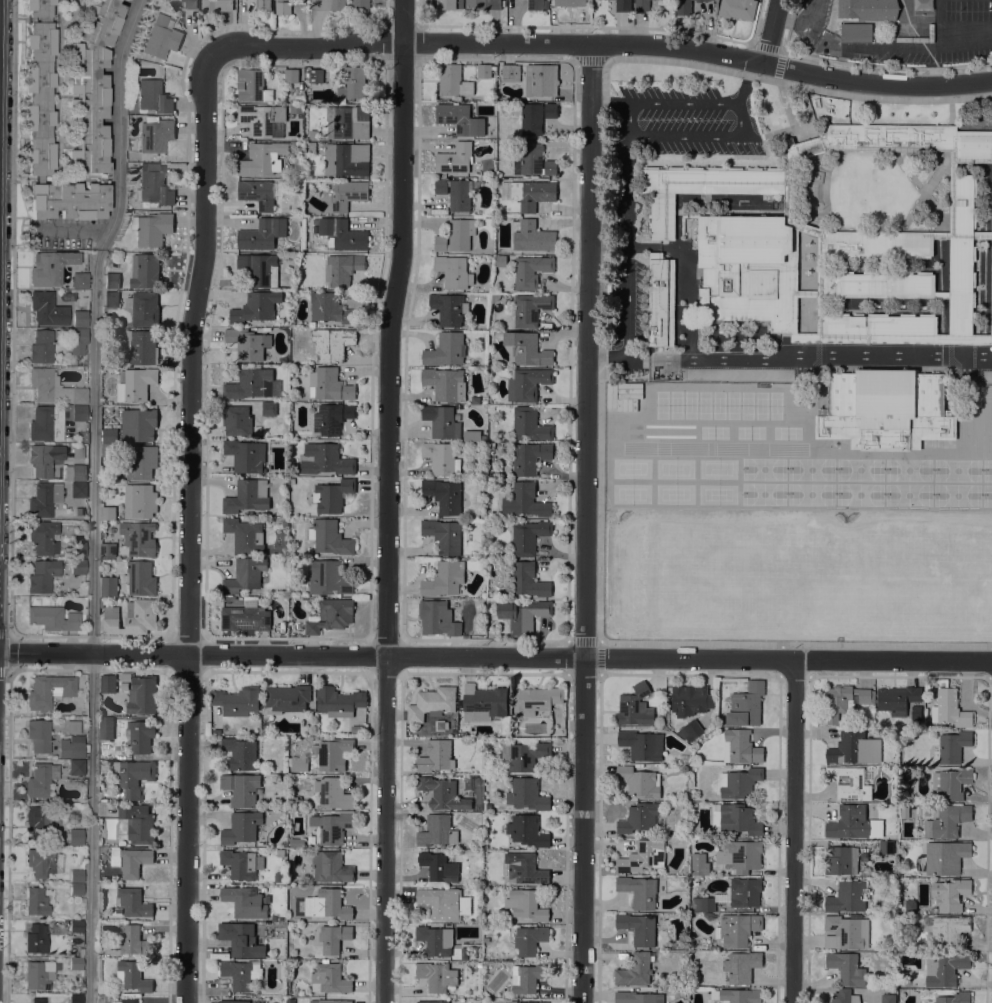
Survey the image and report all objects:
building: (700, 0)
building: (706, 0)
building: (707, 0)
building: (570, 3)
building: (187, 4)
building: (328, 4)
building: (360, 4)
building: (446, 4)
building: (483, 4)
building: (535, 4)
building: (217, 5)
building: (264, 5)
building: (623, 5)
building: (642, 5)
building: (283, 7)
building: (683, 7)
building: (738, 8)
building: (869, 9)
road: (937, 23)
road: (801, 24)
parking lot: (962, 31)
road: (770, 32)
building: (856, 35)
building: (161, 38)
road: (400, 42)
road: (964, 42)
road: (866, 45)
road: (678, 46)
building: (864, 55)
building: (484, 70)
building: (510, 72)
building: (291, 75)
building: (315, 75)
building: (541, 80)
building: (454, 81)
road: (746, 82)
building: (354, 83)
building: (39, 85)
road: (876, 85)
building: (90, 86)
building: (253, 86)
building: (152, 96)
building: (299, 97)
building: (296, 108)
building: (535, 115)
road: (742, 115)
building: (262, 118)
building: (460, 119)
building: (348, 121)
building: (156, 135)
building: (314, 135)
building: (910, 138)
building: (310, 147)
building: (263, 158)
building: (455, 158)
building: (347, 159)
building: (534, 160)
building: (967, 161)
building: (154, 185)
building: (701, 189)
building: (257, 193)
building: (456, 193)
building: (533, 193)
building: (347, 194)
building: (69, 200)
building: (991, 214)
building: (152, 228)
building: (262, 233)
building: (342, 234)
building: (456, 235)
building: (942, 235)
building: (982, 235)
building: (533, 236)
road: (625, 242)
building: (878, 244)
building: (821, 246)
building: (962, 253)
building: (49, 267)
building: (259, 268)
building: (343, 268)
building: (746, 268)
building: (145, 270)
building: (453, 271)
building: (530, 271)
building: (79, 280)
building: (112, 280)
building: (880, 284)
building: (991, 285)
building: (942, 294)
building: (111, 299)
building: (661, 300)
building: (256, 307)
building: (144, 308)
building: (330, 308)
building: (449, 308)
building: (530, 308)
building: (47, 309)
building: (991, 315)
building: (80, 318)
building: (880, 328)
building: (991, 332)
building: (963, 338)
building: (78, 341)
building: (248, 343)
building: (332, 343)
building: (41, 347)
building: (142, 347)
building: (446, 349)
building: (526, 349)
road: (791, 357)
building: (662, 374)
building: (688, 374)
building: (738, 376)
building: (250, 383)
building: (445, 383)
building: (527, 383)
building: (137, 384)
building: (330, 384)
building: (53, 388)
building: (269, 408)
building: (885, 409)
building: (79, 413)
building: (332, 417)
building: (237, 420)
building: (442, 421)
building: (46, 423)
building: (138, 424)
building: (530, 424)
building: (110, 435)
building: (109, 450)
building: (77, 451)
building: (246, 455)
building: (530, 457)
building: (441, 458)
building: (44, 459)
building: (325, 459)
building: (141, 462)
building: (75, 472)
building: (333, 495)
building: (444, 495)
building: (247, 496)
building: (51, 497)
road: (95, 497)
building: (140, 501)
road: (391, 501)
building: (525, 501)
building: (108, 512)
building: (284, 522)
road: (588, 522)
road: (193, 529)
building: (444, 534)
building: (245, 535)
building: (43, 537)
building: (329, 537)
building: (529, 537)
building: (138, 538)
building: (78, 549)
building: (108, 550)
building: (78, 566)
building: (245, 575)
building: (42, 576)
building: (141, 578)
building: (329, 578)
building: (444, 579)
building: (528, 580)
building: (109, 586)
building: (101, 602)
building: (331, 615)
building: (523, 615)
building: (132, 617)
building: (246, 617)
building: (53, 618)
building: (437, 618)
road: (495, 659)
building: (125, 677)
building: (108, 683)
building: (49, 690)
building: (142, 694)
building: (286, 698)
building: (897, 698)
building: (536, 699)
building: (237, 700)
building: (690, 700)
building: (844, 700)
building: (339, 701)
building: (483, 702)
building: (432, 703)
building: (746, 704)
building: (635, 706)
building: (950, 709)
building: (916, 712)
building: (106, 728)
building: (358, 728)
building: (690, 730)
building: (264, 731)
building: (38, 735)
building: (140, 735)
building: (642, 744)
building: (76, 746)
building: (741, 747)
building: (951, 747)
building: (854, 748)
building: (240, 753)
building: (326, 755)
building: (524, 755)
building: (436, 756)
building: (76, 767)
building: (134, 776)
building: (40, 780)
building: (640, 781)
building: (739, 782)
building: (849, 783)
building: (950, 783)
building: (241, 788)
building: (334, 793)
building: (443, 793)
building: (527, 794)
building: (296, 801)
building: (488, 806)
building: (905, 810)
building: (715, 814)
building: (639, 817)
building: (737, 818)
building: (42, 819)
building: (947, 821)
building: (138, 822)
building: (849, 822)
building: (241, 827)
building: (332, 827)
building: (437, 830)
building: (527, 830)
road: (796, 831)
building: (74, 836)
building: (311, 839)
building: (296, 842)
building: (886, 846)
building: (281, 853)
building: (741, 855)
building: (643, 856)
building: (945, 857)
building: (130, 860)
building: (841, 860)
building: (259, 861)
building: (40, 862)
building: (239, 864)
building: (700, 864)
building: (439, 866)
building: (331, 867)
building: (525, 868)
building: (76, 876)
building: (278, 876)
building: (76, 889)
building: (639, 890)
building: (950, 893)
building: (732, 895)
building: (848, 897)
building: (36, 901)
building: (245, 901)
building: (133, 902)
building: (445, 903)
building: (327, 904)
building: (910, 904)
building: (526, 905)
building: (479, 919)
building: (76, 926)
building: (638, 928)
building: (737, 929)
building: (949, 929)
building: (846, 931)
building: (334, 937)
building: (35, 938)
building: (241, 939)
building: (435, 939)
building: (529, 939)
building: (133, 940)
building: (75, 963)
building: (741, 966)
building: (847, 968)
building: (635, 969)
building: (945, 969)
building: (241, 973)
building: (39, 974)
building: (437, 975)
building: (132, 976)
building: (329, 978)
building: (527, 978)
building: (738, 995)
building: (638, 997)
building: (845, 997)
building: (75, 998)
building: (888, 998)
building: (954, 998)
building: (37, 1000)
building: (128, 1000)
building: (290, 1000)
building: (235, 1001)
building: (330, 1001)
building: (433, 1002)
building: (526, 1002)

